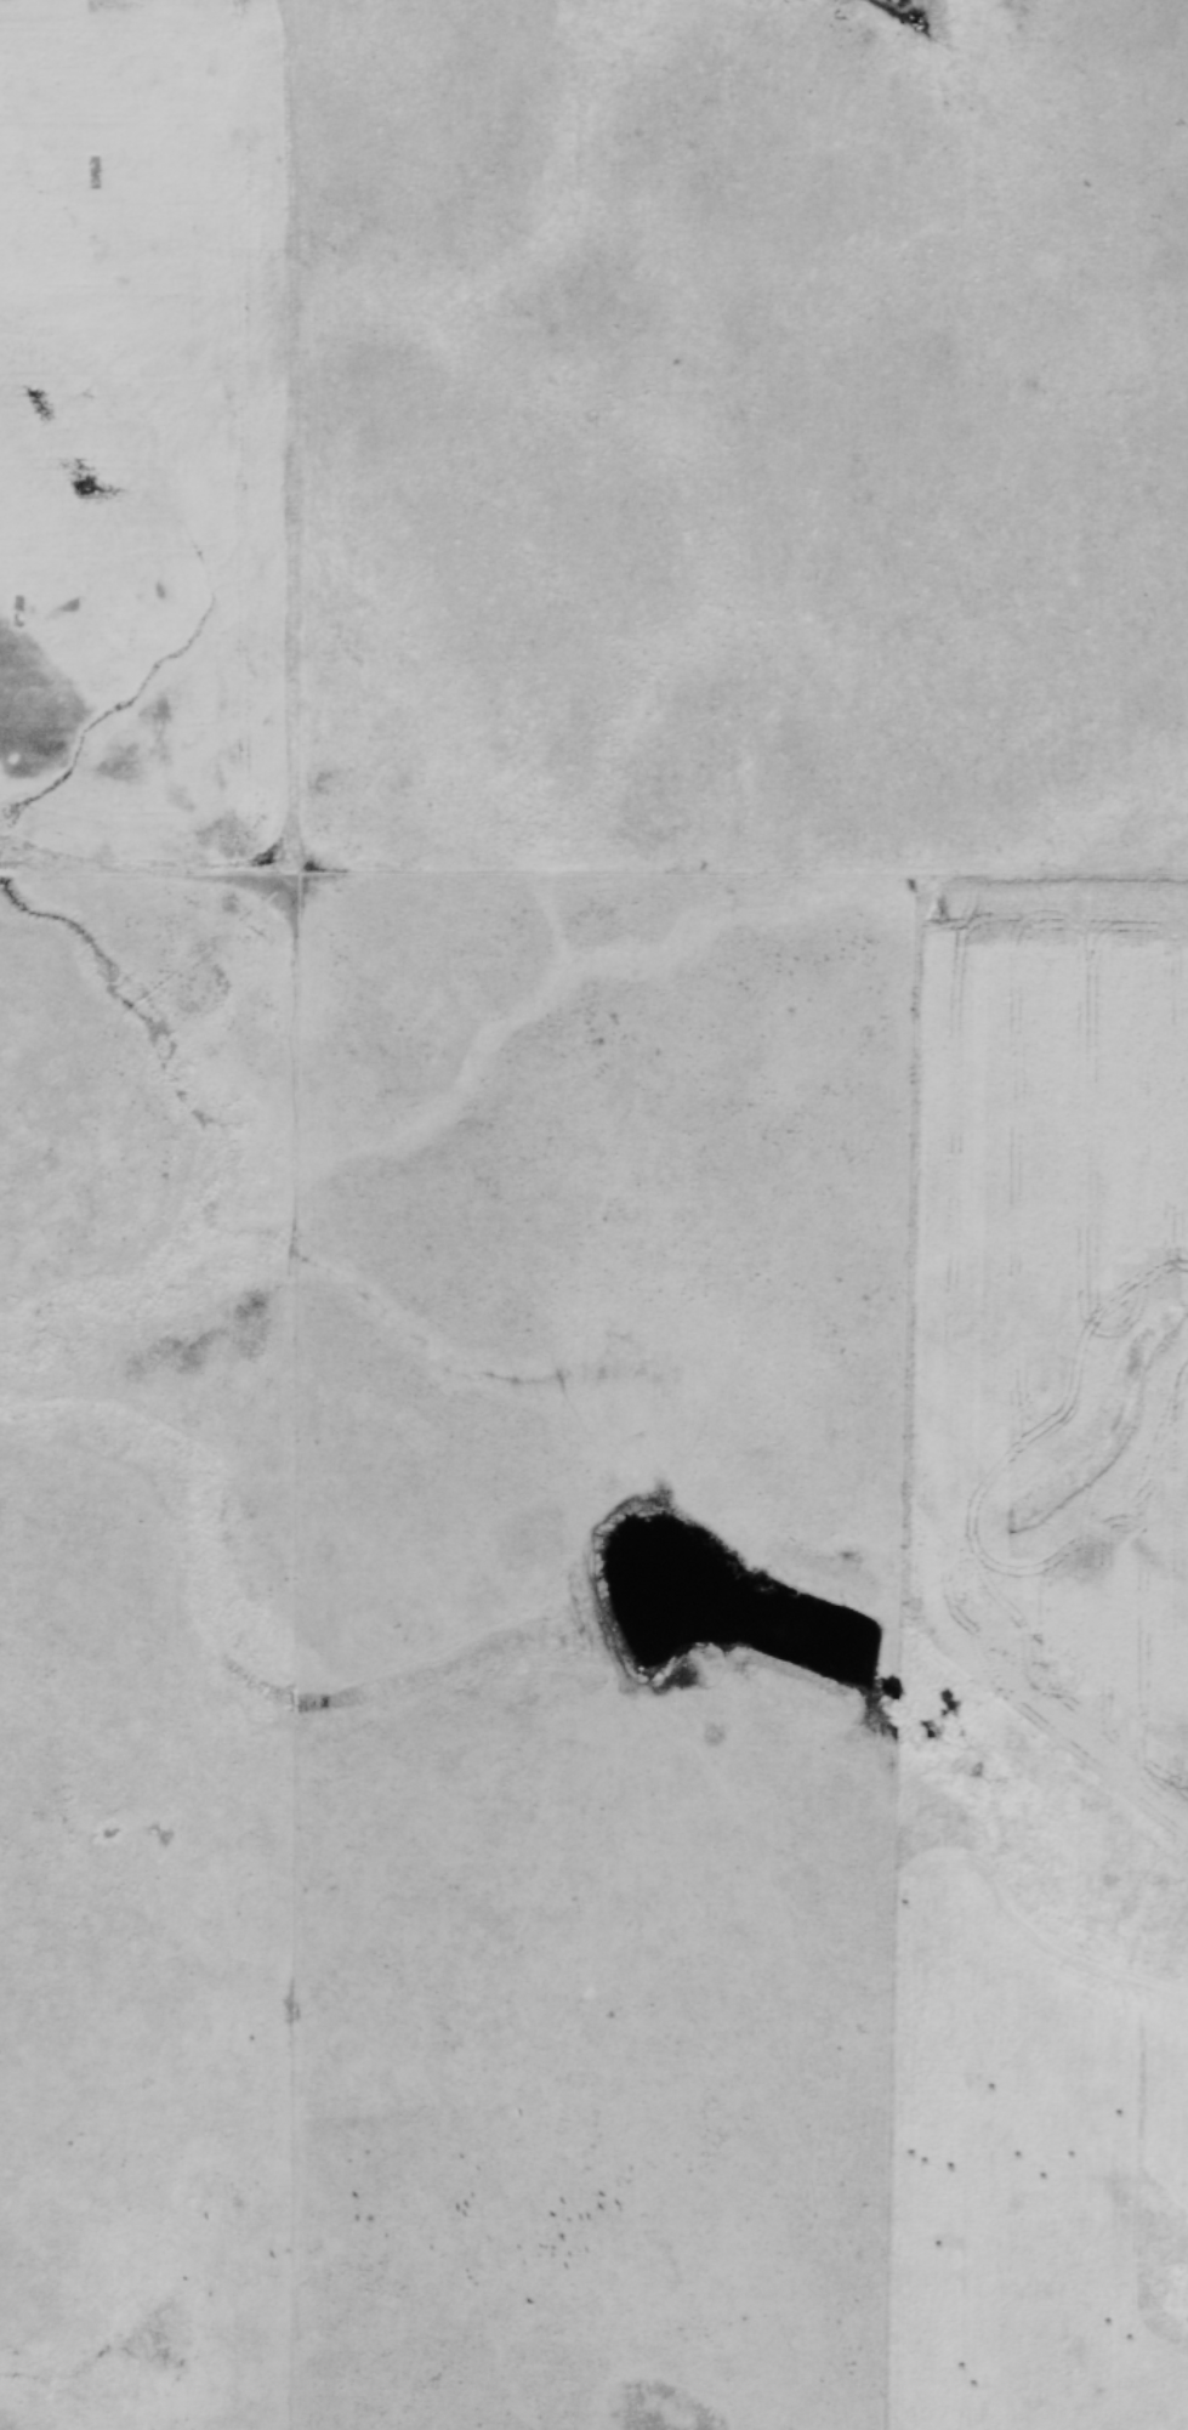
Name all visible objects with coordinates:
road: (1187, 2428)

